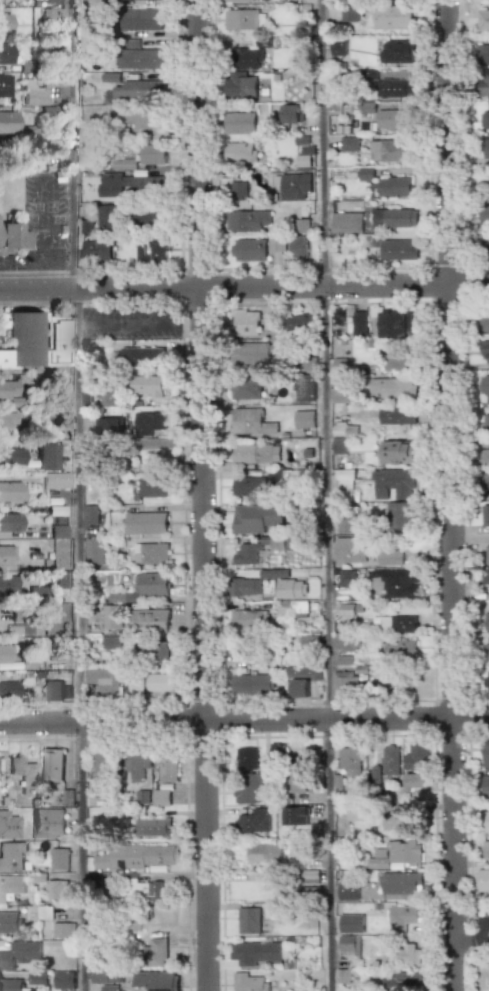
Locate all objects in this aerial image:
building: (134, 0)
building: (241, 1)
building: (53, 2)
building: (348, 13)
building: (52, 14)
building: (392, 16)
building: (140, 19)
building: (244, 20)
building: (483, 20)
building: (5, 23)
building: (337, 47)
building: (397, 52)
building: (6, 53)
building: (483, 54)
building: (248, 58)
building: (139, 59)
building: (367, 74)
building: (483, 83)
building: (239, 86)
building: (5, 88)
building: (393, 88)
building: (137, 90)
building: (34, 93)
building: (291, 114)
building: (142, 118)
building: (394, 119)
building: (484, 120)
building: (8, 122)
building: (239, 123)
building: (349, 143)
road: (323, 144)
road: (74, 145)
building: (48, 148)
building: (483, 149)
building: (303, 151)
building: (390, 151)
building: (240, 152)
building: (152, 154)
building: (123, 164)
building: (130, 184)
building: (483, 184)
building: (295, 186)
building: (395, 187)
building: (238, 190)
building: (484, 215)
building: (108, 218)
building: (395, 218)
building: (149, 219)
building: (247, 221)
building: (348, 222)
road: (47, 236)
building: (298, 238)
building: (11, 239)
building: (484, 243)
building: (96, 248)
building: (253, 248)
building: (395, 248)
building: (154, 250)
road: (23, 265)
road: (244, 290)
building: (270, 321)
building: (244, 322)
building: (299, 322)
building: (483, 322)
building: (359, 323)
building: (392, 324)
building: (34, 342)
building: (485, 351)
building: (252, 353)
building: (142, 357)
building: (398, 363)
building: (484, 384)
building: (148, 386)
building: (305, 387)
building: (247, 388)
building: (393, 388)
building: (11, 392)
building: (341, 395)
building: (109, 397)
building: (397, 415)
building: (303, 419)
building: (251, 421)
building: (6, 422)
building: (486, 422)
building: (151, 424)
building: (109, 427)
building: (344, 429)
building: (397, 452)
building: (252, 453)
building: (11, 456)
building: (46, 456)
building: (486, 457)
building: (56, 480)
building: (344, 482)
building: (486, 482)
building: (392, 483)
building: (248, 486)
building: (149, 487)
building: (11, 492)
road: (204, 495)
road: (453, 495)
building: (91, 514)
building: (485, 515)
building: (255, 517)
building: (398, 517)
building: (9, 522)
building: (146, 522)
building: (346, 523)
building: (58, 531)
building: (349, 549)
building: (94, 550)
building: (151, 552)
building: (7, 554)
building: (248, 554)
building: (487, 554)
building: (389, 556)
building: (272, 574)
building: (486, 577)
building: (346, 578)
building: (63, 580)
building: (394, 582)
building: (6, 584)
building: (153, 584)
building: (244, 587)
building: (294, 608)
building: (111, 617)
building: (57, 619)
building: (150, 619)
building: (247, 619)
building: (487, 621)
building: (397, 623)
road: (325, 640)
road: (78, 641)
building: (308, 642)
building: (111, 643)
building: (345, 643)
building: (399, 648)
building: (486, 648)
building: (153, 650)
building: (5, 654)
building: (299, 679)
building: (102, 680)
building: (157, 682)
building: (341, 682)
building: (252, 683)
building: (488, 683)
building: (7, 690)
building: (52, 690)
road: (244, 720)
building: (276, 750)
building: (485, 756)
building: (247, 758)
building: (349, 761)
building: (390, 761)
building: (52, 765)
building: (168, 766)
building: (103, 767)
building: (136, 767)
building: (415, 767)
building: (23, 774)
building: (299, 784)
building: (486, 787)
building: (248, 789)
building: (161, 797)
building: (356, 813)
building: (293, 815)
building: (253, 820)
building: (398, 820)
building: (486, 821)
building: (48, 822)
building: (8, 825)
building: (154, 827)
building: (486, 850)
building: (265, 853)
building: (397, 855)
building: (136, 856)
building: (12, 857)
building: (59, 859)
building: (309, 876)
building: (483, 881)
building: (400, 883)
building: (10, 887)
building: (56, 889)
building: (142, 889)
building: (347, 891)
building: (39, 912)
building: (404, 917)
building: (248, 920)
building: (8, 922)
building: (348, 923)
building: (63, 930)
building: (348, 945)
building: (156, 949)
building: (258, 954)
building: (19, 955)
building: (402, 955)
building: (346, 976)
building: (99, 977)
building: (35, 978)
building: (155, 981)
building: (249, 981)
building: (406, 981)
building: (64, 983)
building: (12, 984)
building: (108, 988)

